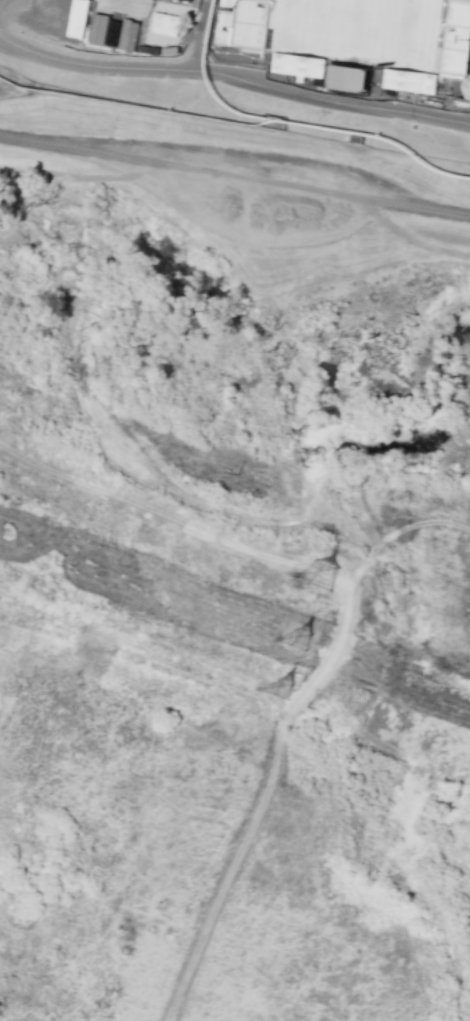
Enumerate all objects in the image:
building: (78, 18)
building: (251, 28)
building: (98, 30)
park: (360, 31)
road: (196, 35)
building: (128, 36)
building: (458, 40)
building: (297, 65)
theme park: (255, 69)
road: (235, 77)
building: (352, 80)
building: (402, 82)
railway: (296, 122)
road: (234, 178)
road: (410, 239)
power tower: (316, 575)
power tower: (296, 637)
power tower: (286, 692)
road: (282, 725)

